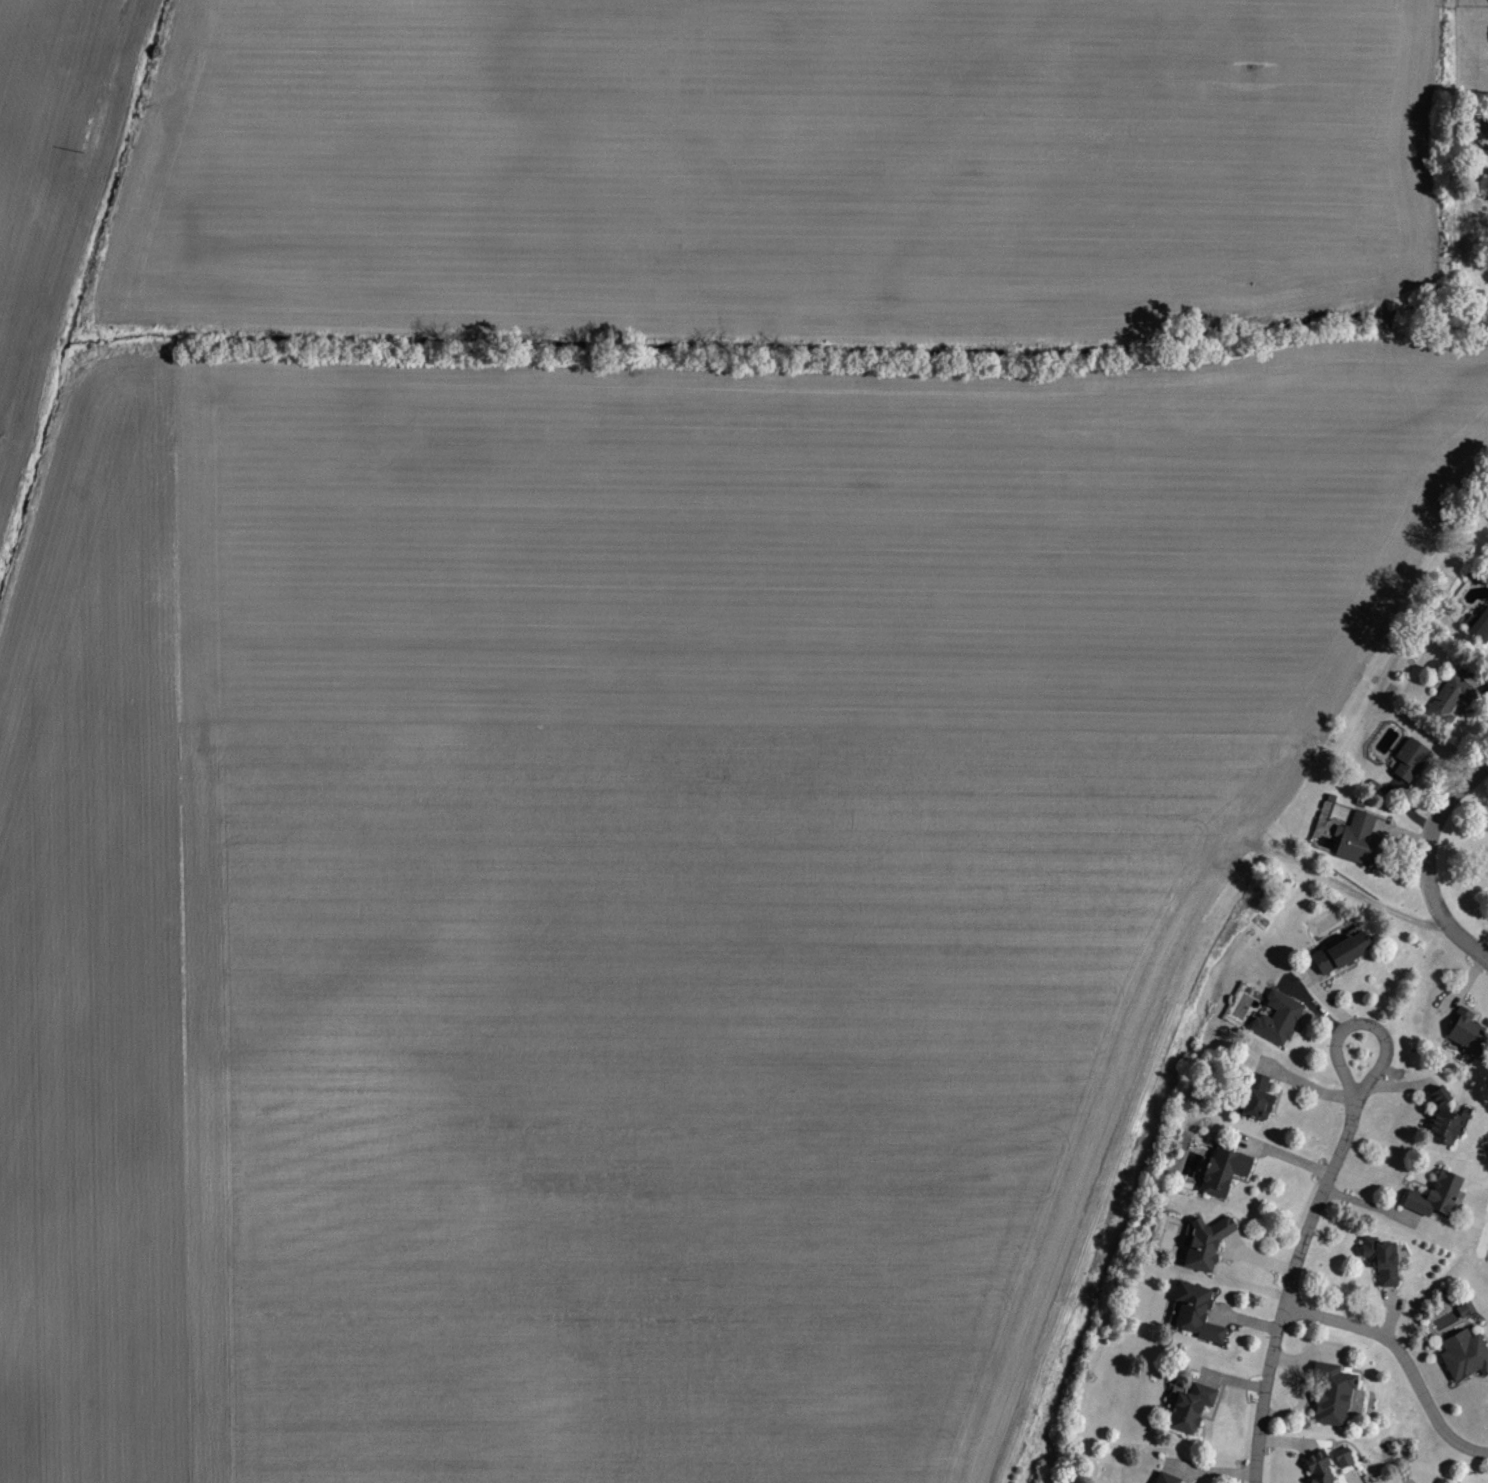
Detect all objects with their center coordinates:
building: (1479, 623)
building: (1448, 694)
building: (1406, 758)
building: (1354, 838)
road: (1426, 857)
building: (1336, 951)
building: (1275, 1018)
road: (1345, 1025)
building: (1461, 1029)
building: (1253, 1098)
building: (1438, 1118)
building: (1221, 1170)
building: (1430, 1194)
building: (1202, 1243)
building: (1379, 1259)
road: (1285, 1284)
building: (1192, 1311)
road: (1407, 1348)
building: (1462, 1354)
building: (1328, 1393)
building: (1188, 1407)
building: (1340, 1458)
building: (1315, 1467)
building: (1162, 1478)

